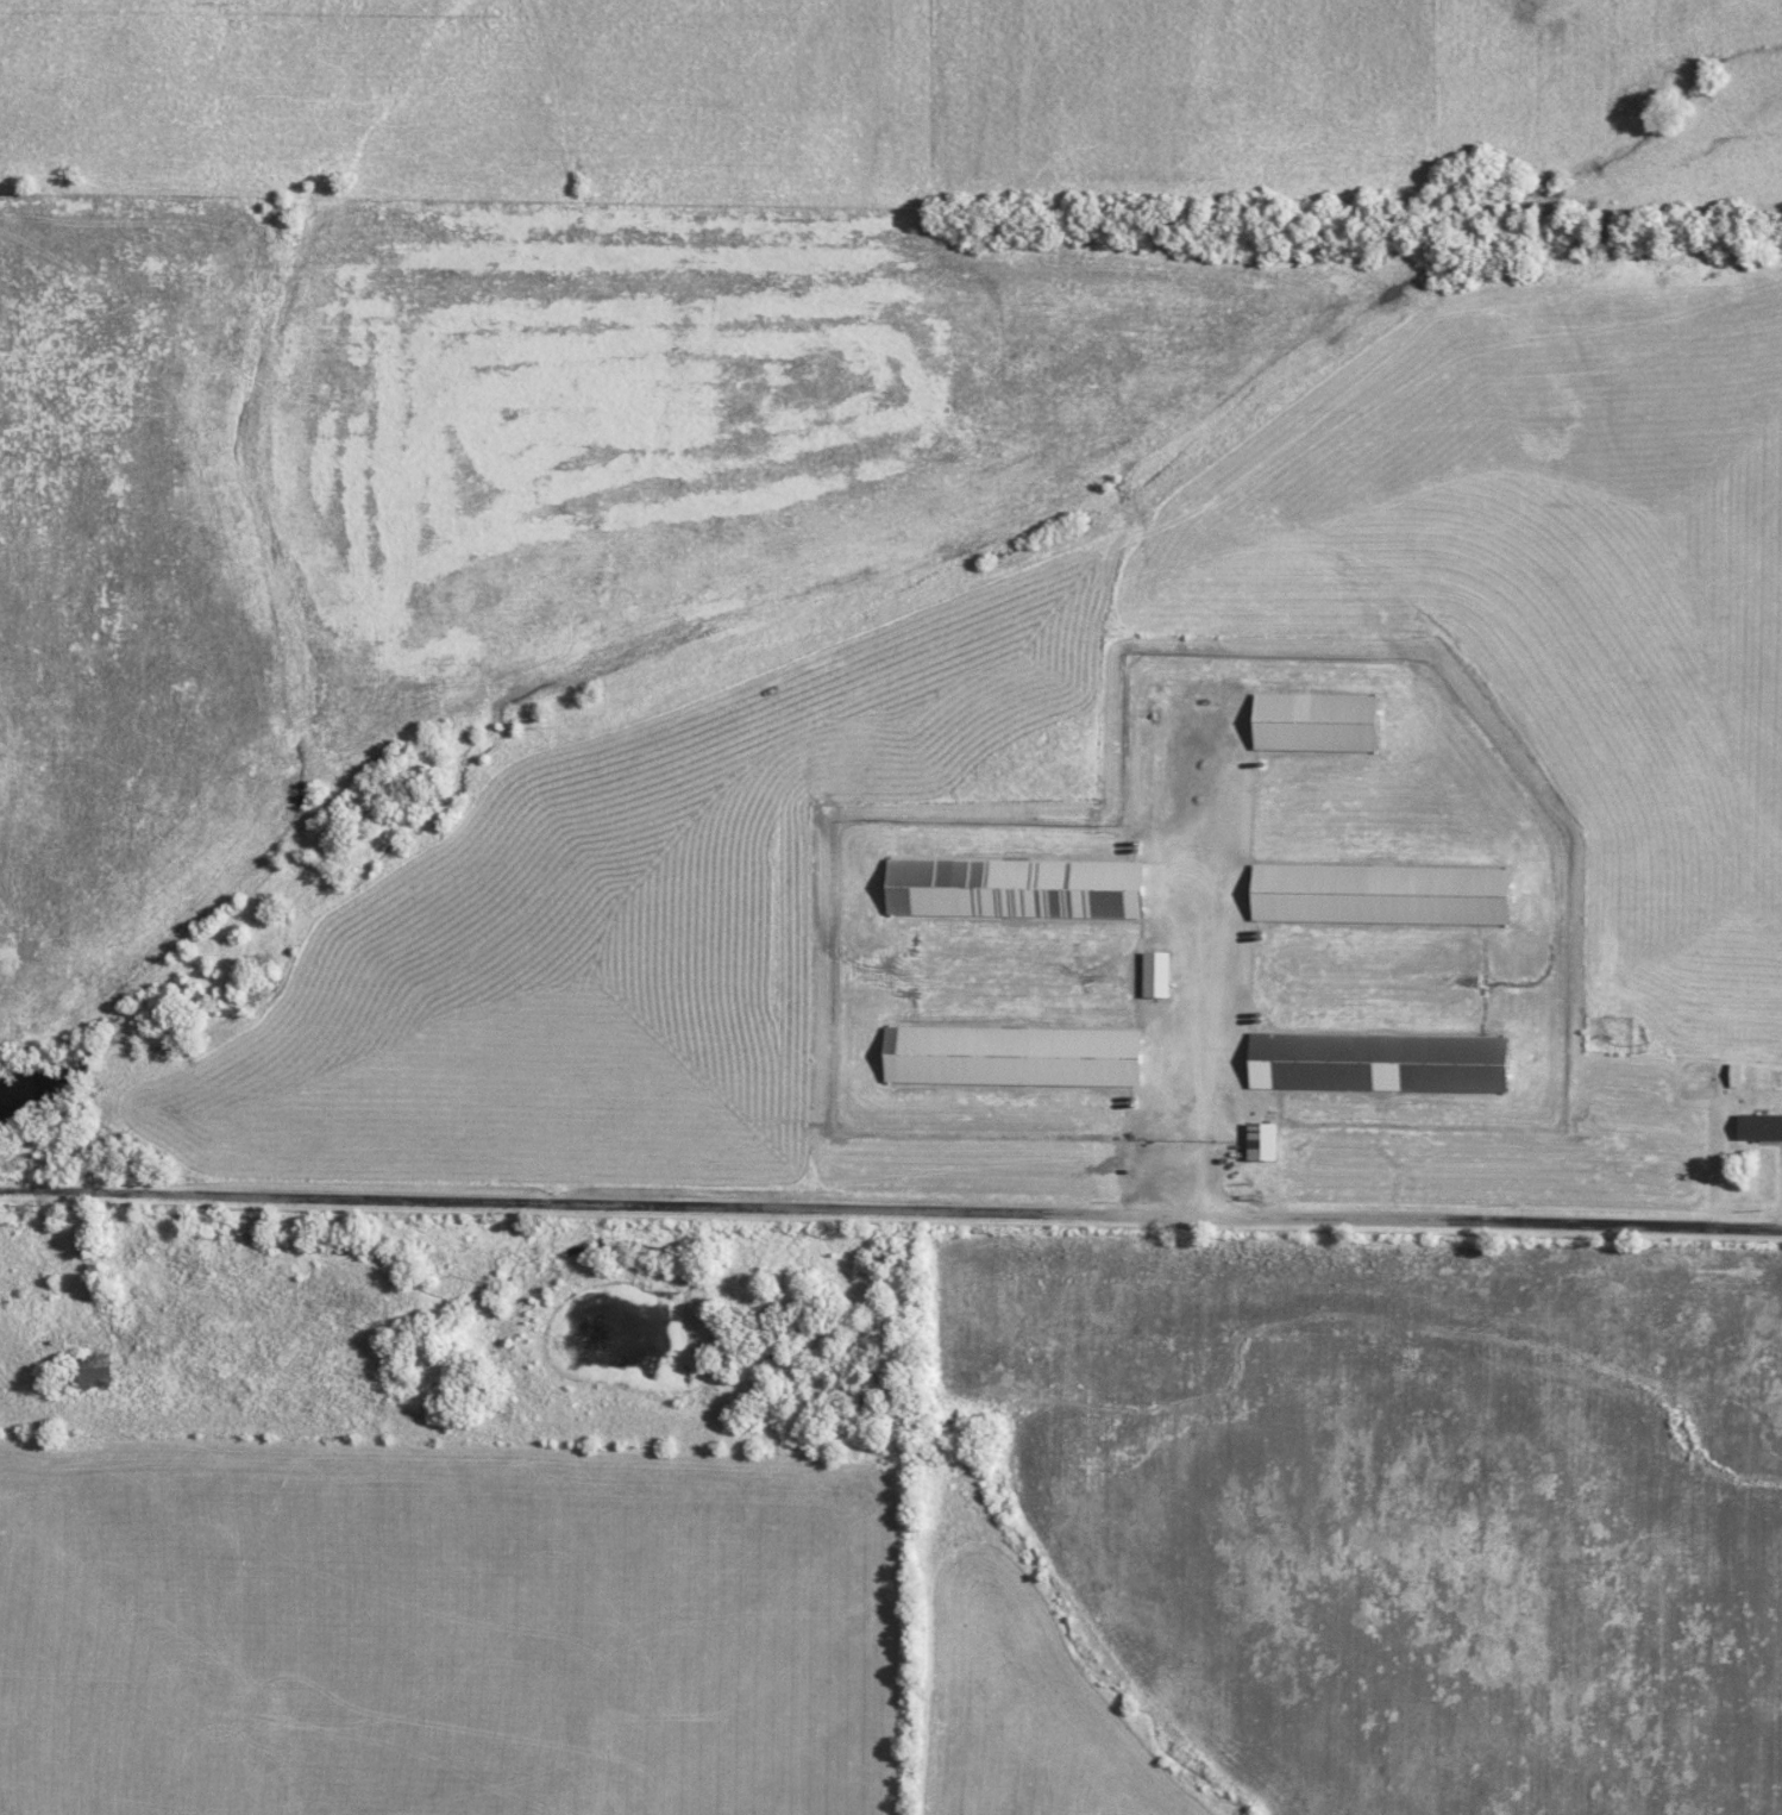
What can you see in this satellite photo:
building: (1312, 722)
building: (1012, 888)
building: (1378, 894)
building: (1154, 975)
building: (1009, 1057)
building: (1376, 1062)
building: (1734, 1076)
building: (1757, 1127)
building: (1261, 1141)
road: (890, 1209)
building: (87, 1373)

